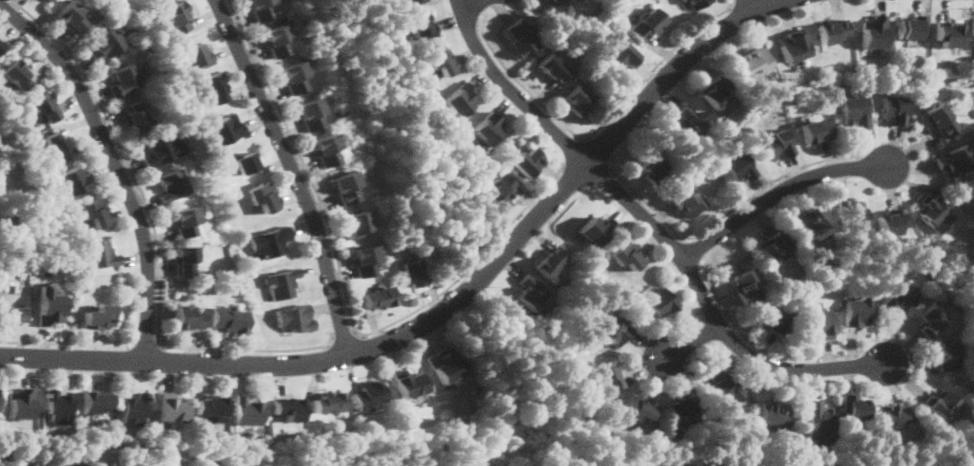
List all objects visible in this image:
building: (49, 0)
building: (684, 0)
building: (409, 1)
road: (462, 1)
building: (697, 3)
road: (750, 3)
building: (557, 5)
road: (478, 8)
building: (258, 9)
building: (70, 16)
building: (177, 17)
building: (648, 24)
building: (422, 26)
building: (912, 27)
building: (831, 30)
building: (874, 31)
building: (948, 33)
building: (169, 34)
building: (521, 38)
building: (274, 40)
building: (103, 44)
building: (0, 46)
building: (793, 46)
building: (197, 55)
building: (624, 57)
building: (441, 60)
building: (752, 60)
building: (552, 67)
building: (15, 74)
building: (291, 77)
building: (122, 80)
building: (214, 87)
building: (716, 91)
building: (460, 99)
building: (578, 100)
building: (43, 107)
building: (854, 110)
building: (894, 110)
building: (308, 113)
building: (135, 116)
building: (940, 118)
building: (686, 120)
building: (489, 127)
road: (597, 128)
building: (225, 129)
building: (816, 131)
building: (778, 144)
building: (58, 147)
road: (599, 148)
building: (324, 149)
road: (570, 149)
building: (160, 150)
building: (953, 160)
building: (525, 161)
building: (245, 162)
road: (116, 163)
building: (737, 166)
building: (652, 168)
road: (295, 172)
building: (73, 180)
building: (171, 184)
building: (344, 186)
building: (500, 191)
road: (776, 191)
building: (263, 196)
building: (686, 201)
building: (95, 212)
road: (725, 212)
building: (851, 213)
building: (935, 213)
building: (184, 221)
building: (890, 223)
building: (356, 225)
building: (810, 225)
road: (652, 226)
building: (597, 230)
road: (155, 239)
building: (270, 241)
road: (698, 246)
building: (774, 248)
building: (100, 254)
building: (627, 255)
building: (184, 258)
building: (363, 260)
building: (550, 262)
building: (413, 272)
building: (281, 282)
building: (744, 286)
road: (344, 291)
building: (531, 291)
building: (899, 294)
building: (378, 297)
building: (660, 302)
road: (444, 306)
building: (50, 307)
building: (858, 310)
building: (10, 315)
building: (98, 316)
building: (186, 318)
building: (228, 318)
building: (295, 318)
building: (931, 319)
building: (775, 320)
building: (819, 322)
building: (614, 329)
building: (536, 332)
road: (342, 334)
road: (145, 340)
road: (687, 341)
road: (67, 342)
road: (754, 342)
building: (946, 355)
building: (444, 365)
building: (606, 375)
building: (408, 383)
building: (724, 387)
building: (369, 395)
building: (95, 401)
building: (329, 402)
building: (21, 403)
building: (942, 404)
building: (59, 406)
building: (211, 406)
building: (854, 406)
building: (638, 407)
building: (171, 408)
building: (133, 409)
building: (289, 409)
building: (683, 410)
building: (247, 411)
building: (773, 414)
building: (891, 415)
building: (818, 419)
building: (778, 446)
building: (76, 465)

